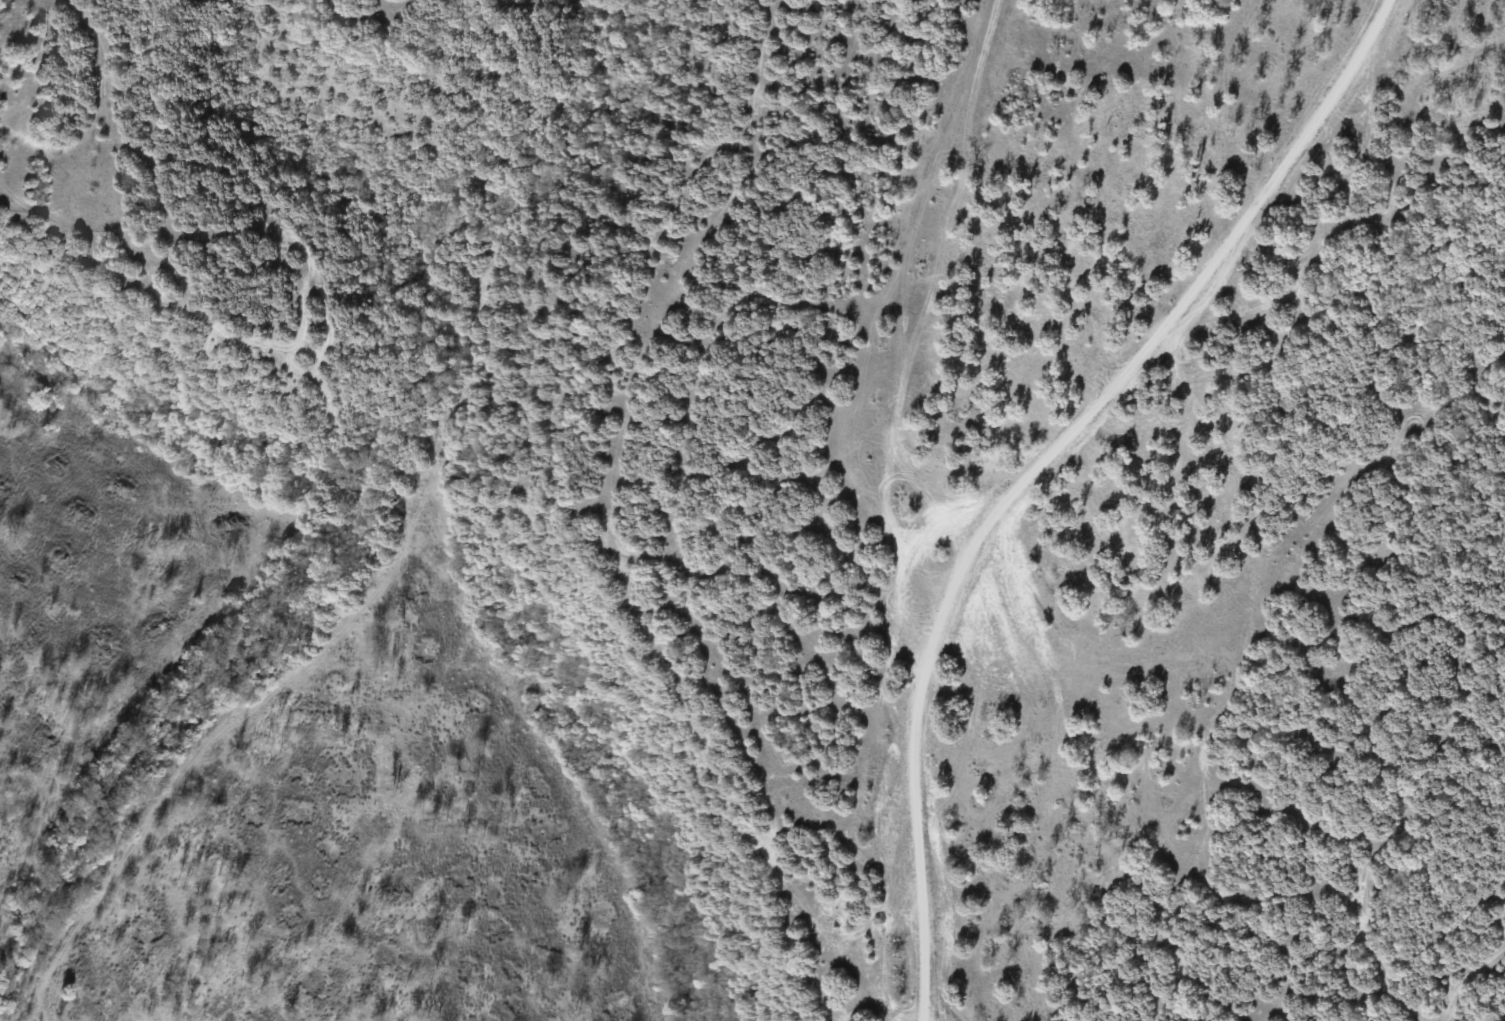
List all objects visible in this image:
road: (1038, 468)

